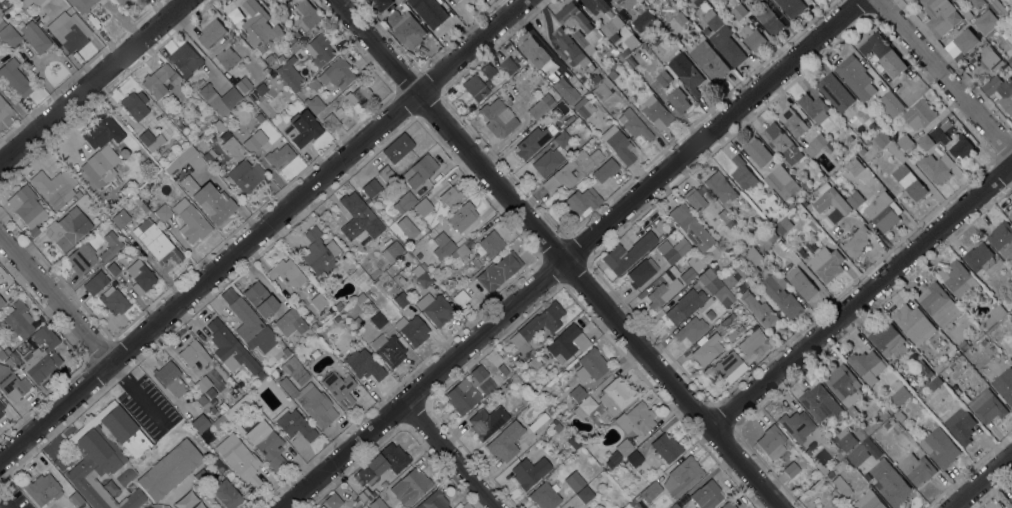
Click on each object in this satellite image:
building: (0, 0)
building: (454, 0)
building: (456, 0)
building: (753, 0)
building: (699, 1)
building: (758, 1)
building: (24, 2)
building: (122, 2)
building: (626, 2)
building: (975, 3)
building: (381, 4)
building: (81, 5)
building: (594, 5)
building: (750, 5)
building: (638, 6)
building: (792, 6)
building: (999, 9)
building: (430, 11)
building: (738, 11)
building: (309, 12)
building: (966, 12)
building: (940, 15)
building: (680, 18)
building: (712, 20)
building: (770, 20)
building: (644, 21)
building: (986, 21)
building: (2, 23)
building: (611, 25)
building: (405, 26)
building: (260, 27)
building: (590, 28)
building: (69, 32)
building: (211, 32)
building: (644, 36)
building: (25, 37)
building: (753, 37)
building: (655, 39)
building: (967, 40)
building: (638, 41)
building: (293, 45)
building: (569, 48)
building: (319, 50)
building: (731, 51)
building: (534, 52)
building: (614, 52)
building: (301, 53)
building: (884, 53)
building: (991, 57)
building: (226, 58)
building: (269, 58)
building: (280, 58)
building: (185, 59)
building: (709, 61)
building: (1010, 63)
building: (508, 65)
building: (265, 71)
building: (687, 72)
building: (488, 73)
building: (290, 74)
building: (334, 75)
building: (613, 75)
building: (855, 76)
building: (595, 77)
road: (943, 77)
building: (664, 78)
building: (15, 79)
building: (159, 80)
road: (93, 82)
building: (243, 84)
building: (475, 88)
building: (260, 89)
building: (603, 89)
building: (565, 90)
building: (1000, 90)
building: (835, 91)
building: (253, 95)
building: (359, 96)
building: (218, 98)
building: (678, 99)
building: (314, 104)
building: (890, 104)
building: (135, 105)
building: (540, 106)
building: (814, 107)
building: (584, 108)
building: (3, 109)
building: (559, 110)
building: (338, 111)
building: (656, 112)
building: (919, 113)
building: (498, 117)
building: (793, 121)
building: (331, 122)
building: (634, 125)
building: (218, 126)
building: (180, 127)
building: (302, 128)
building: (102, 131)
building: (941, 133)
building: (850, 137)
building: (882, 139)
building: (150, 140)
building: (254, 141)
building: (781, 142)
building: (905, 142)
building: (926, 142)
building: (531, 143)
building: (618, 144)
building: (230, 145)
building: (817, 145)
building: (960, 147)
building: (199, 148)
building: (398, 148)
building: (757, 150)
building: (552, 156)
building: (210, 157)
building: (279, 157)
building: (597, 157)
building: (194, 161)
building: (100, 166)
building: (855, 166)
building: (936, 166)
building: (605, 170)
building: (419, 171)
building: (569, 172)
building: (743, 173)
building: (386, 174)
building: (241, 175)
building: (781, 181)
building: (909, 181)
building: (398, 182)
building: (806, 183)
building: (720, 187)
building: (53, 188)
building: (370, 188)
building: (450, 196)
building: (772, 197)
building: (695, 198)
building: (855, 198)
building: (206, 199)
building: (582, 200)
building: (404, 202)
building: (841, 205)
building: (26, 206)
building: (423, 207)
building: (883, 211)
building: (163, 213)
building: (360, 214)
building: (1010, 215)
building: (462, 216)
building: (120, 218)
building: (726, 218)
building: (190, 222)
building: (782, 225)
building: (690, 227)
building: (407, 228)
building: (67, 230)
building: (35, 232)
road: (262, 232)
building: (767, 235)
building: (1002, 238)
building: (857, 241)
building: (156, 242)
building: (491, 243)
building: (110, 246)
building: (442, 246)
building: (461, 250)
building: (673, 250)
building: (391, 251)
building: (319, 253)
road: (552, 253)
road: (575, 253)
building: (628, 253)
building: (979, 256)
building: (81, 259)
building: (753, 259)
building: (826, 263)
building: (424, 266)
building: (112, 268)
building: (367, 268)
building: (417, 271)
building: (642, 271)
building: (740, 271)
building: (498, 272)
building: (287, 273)
building: (688, 275)
building: (140, 276)
building: (957, 278)
building: (424, 279)
building: (729, 279)
building: (709, 280)
building: (96, 282)
building: (801, 282)
building: (113, 283)
building: (662, 293)
building: (781, 294)
road: (860, 296)
building: (724, 297)
road: (56, 298)
building: (460, 298)
building: (260, 299)
building: (400, 299)
building: (318, 301)
building: (114, 302)
building: (364, 302)
building: (0, 303)
building: (938, 304)
building: (338, 305)
building: (685, 305)
building: (435, 308)
building: (759, 309)
building: (992, 318)
building: (18, 320)
building: (377, 320)
building: (912, 321)
building: (37, 322)
building: (248, 322)
building: (290, 322)
building: (357, 322)
building: (538, 323)
building: (0, 326)
building: (691, 329)
building: (741, 329)
building: (412, 330)
building: (731, 335)
building: (888, 340)
building: (751, 341)
building: (983, 341)
building: (567, 343)
building: (963, 344)
building: (24, 345)
building: (229, 347)
building: (389, 349)
building: (286, 350)
building: (707, 350)
building: (530, 353)
building: (193, 354)
building: (2, 355)
building: (36, 355)
building: (542, 356)
building: (1010, 359)
building: (919, 362)
building: (534, 363)
building: (866, 364)
building: (364, 365)
building: (575, 365)
building: (590, 365)
building: (938, 367)
building: (728, 368)
building: (501, 369)
building: (947, 369)
building: (294, 370)
building: (929, 372)
building: (274, 373)
building: (478, 373)
building: (260, 374)
building: (170, 379)
building: (472, 382)
building: (935, 382)
building: (202, 383)
building: (12, 384)
building: (1004, 384)
building: (844, 386)
building: (486, 387)
building: (339, 388)
building: (210, 392)
building: (577, 393)
building: (899, 395)
building: (462, 397)
building: (965, 397)
building: (527, 398)
building: (816, 399)
building: (201, 400)
building: (212, 402)
building: (311, 402)
building: (605, 403)
building: (987, 405)
building: (1, 406)
building: (835, 406)
building: (236, 407)
building: (1, 409)
building: (255, 410)
building: (213, 411)
building: (266, 411)
building: (0, 415)
building: (900, 416)
building: (882, 417)
building: (636, 419)
building: (486, 421)
building: (219, 422)
building: (537, 422)
building: (199, 423)
building: (888, 423)
building: (796, 425)
building: (294, 426)
building: (962, 427)
building: (239, 429)
building: (859, 433)
building: (846, 438)
building: (505, 442)
building: (573, 442)
building: (771, 442)
building: (266, 443)
building: (867, 443)
building: (624, 447)
building: (666, 447)
building: (940, 447)
building: (531, 450)
building: (807, 452)
building: (105, 455)
building: (839, 456)
road: (451, 457)
building: (612, 459)
building: (633, 459)
building: (845, 460)
building: (804, 463)
building: (243, 464)
building: (218, 465)
building: (380, 465)
building: (917, 467)
building: (169, 470)
building: (791, 470)
building: (822, 470)
building: (530, 471)
building: (830, 474)
building: (201, 476)
building: (682, 476)
building: (574, 481)
road: (981, 481)
building: (890, 482)
building: (841, 486)
building: (410, 487)
building: (42, 489)
building: (345, 490)
building: (650, 491)
building: (226, 494)
building: (585, 494)
building: (545, 495)
building: (706, 495)
building: (366, 496)
building: (75, 499)
building: (1011, 499)
building: (634, 500)
building: (868, 500)
building: (333, 501)
building: (434, 501)
building: (571, 502)
building: (377, 503)
building: (727, 505)
building: (674, 506)
building: (319, 507)
building: (321, 507)
building: (363, 507)
building: (566, 507)
building: (567, 507)

